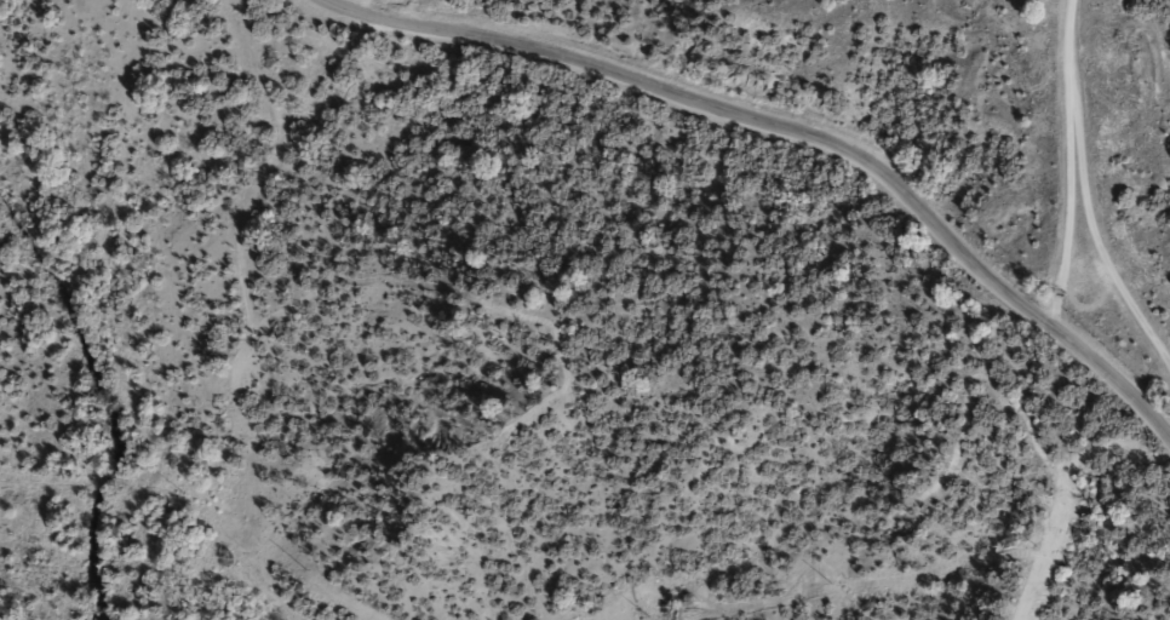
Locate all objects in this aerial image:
road: (810, 128)
road: (1072, 160)
road: (1095, 230)

